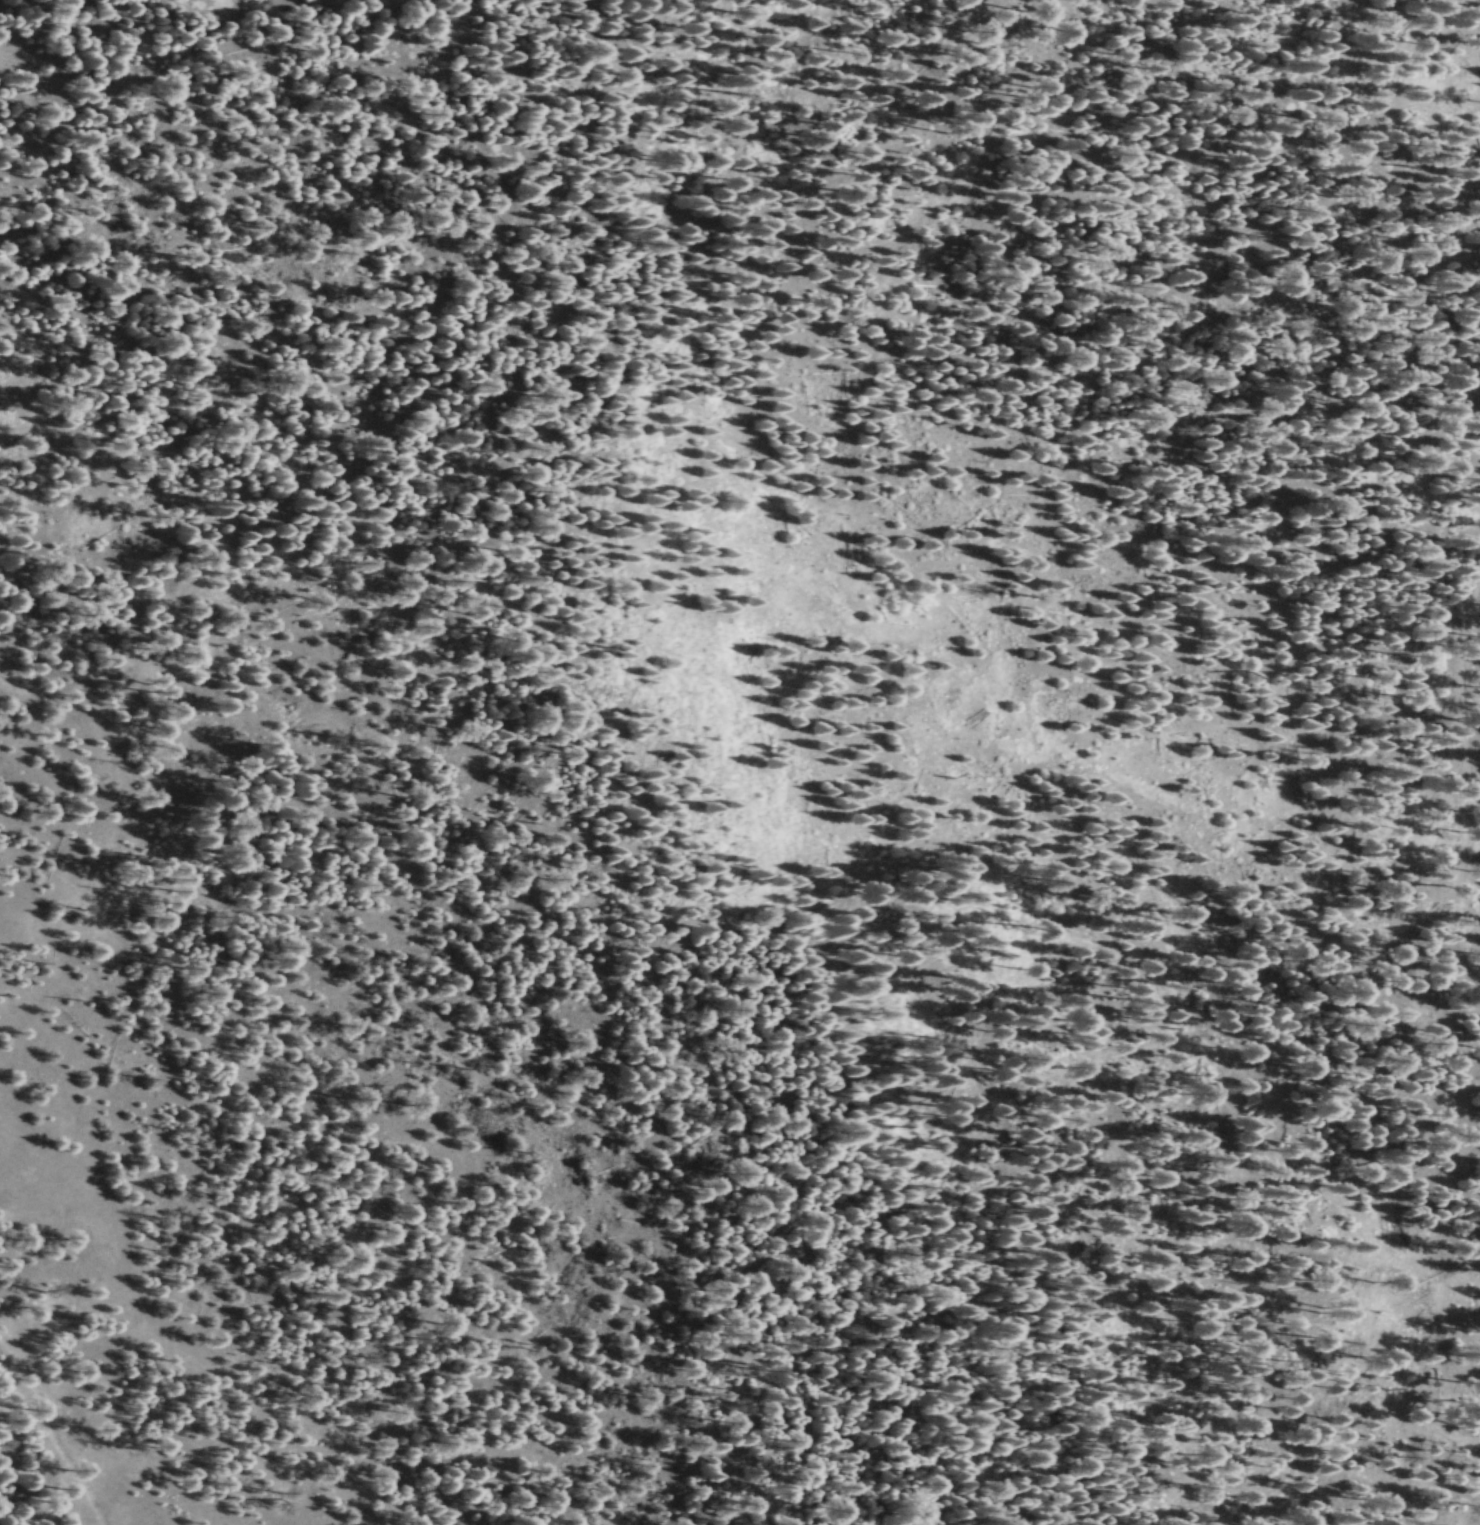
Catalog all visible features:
road: (1470, 33)
road: (1474, 818)

